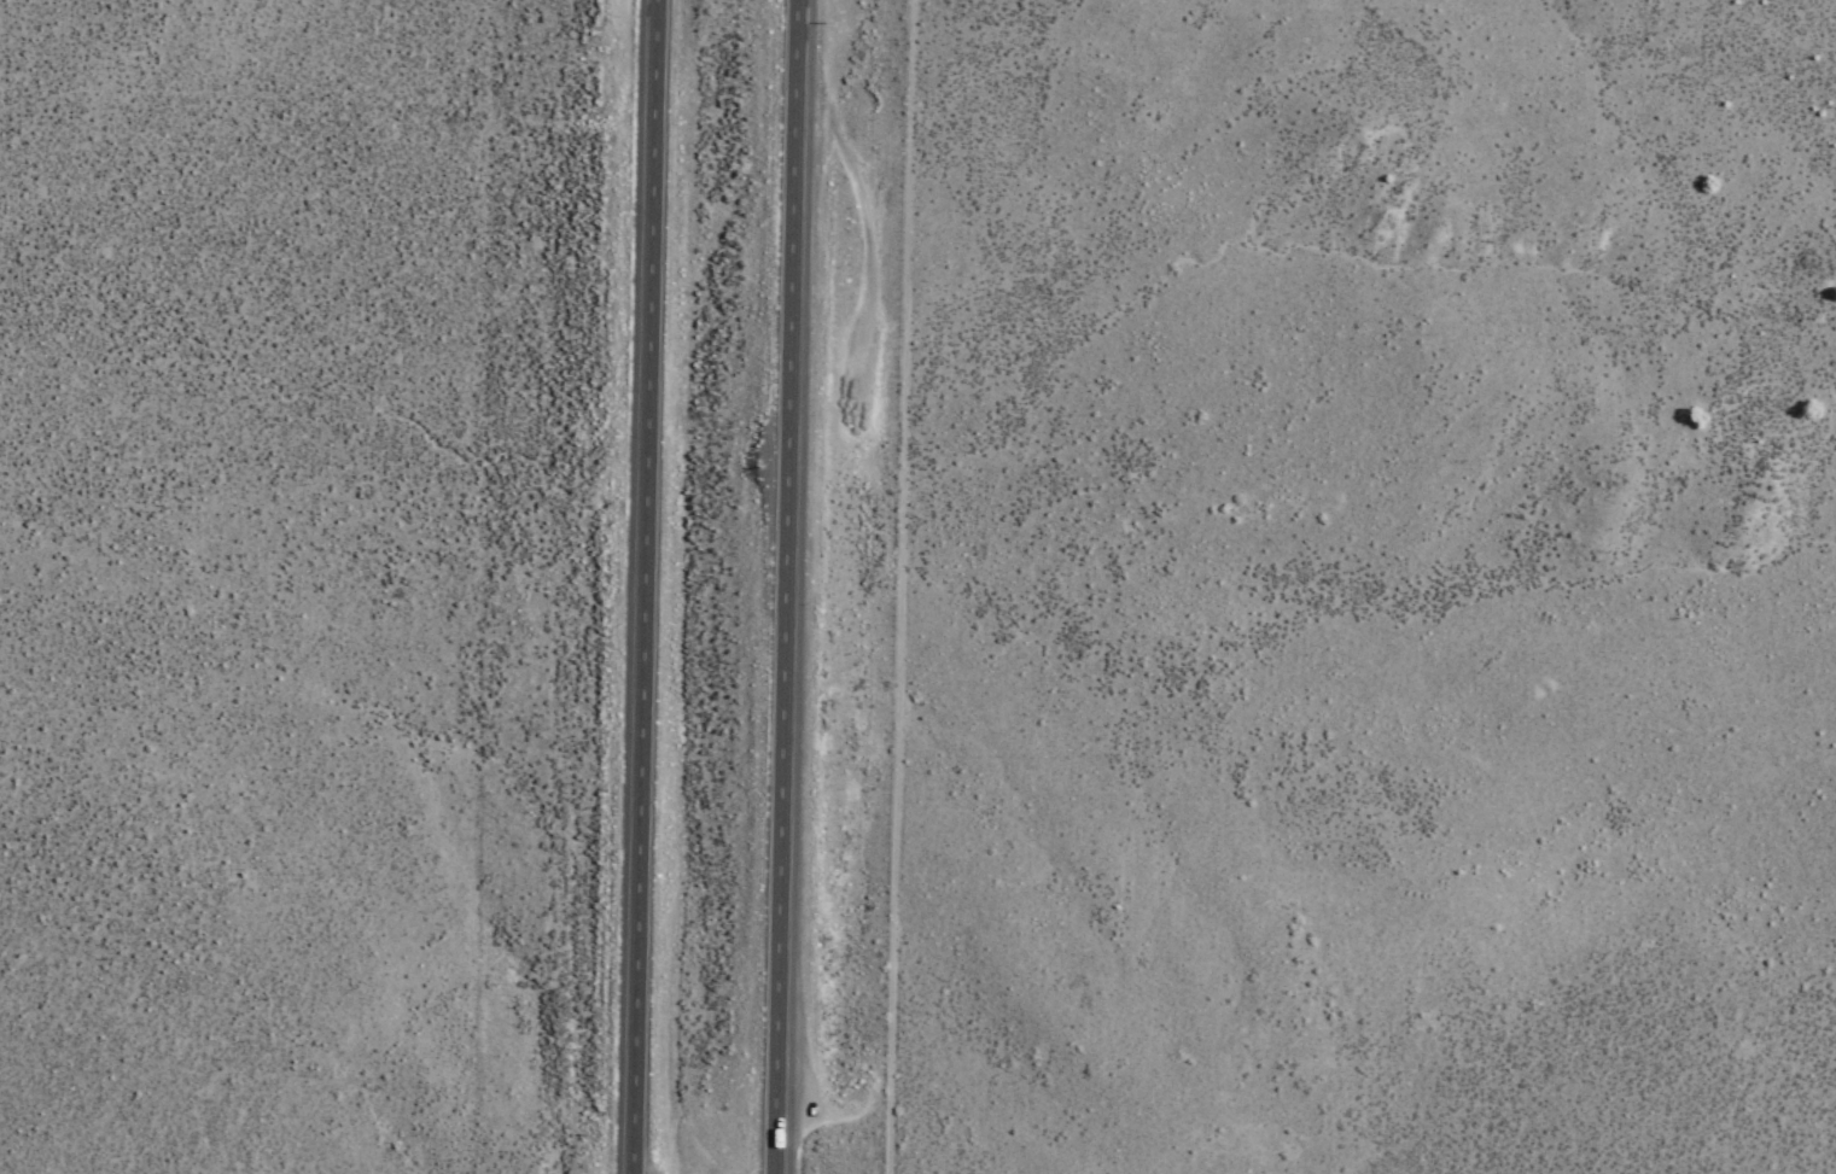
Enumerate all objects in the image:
crop: (414, 384)
road: (643, 586)
road: (781, 586)
road: (900, 586)

